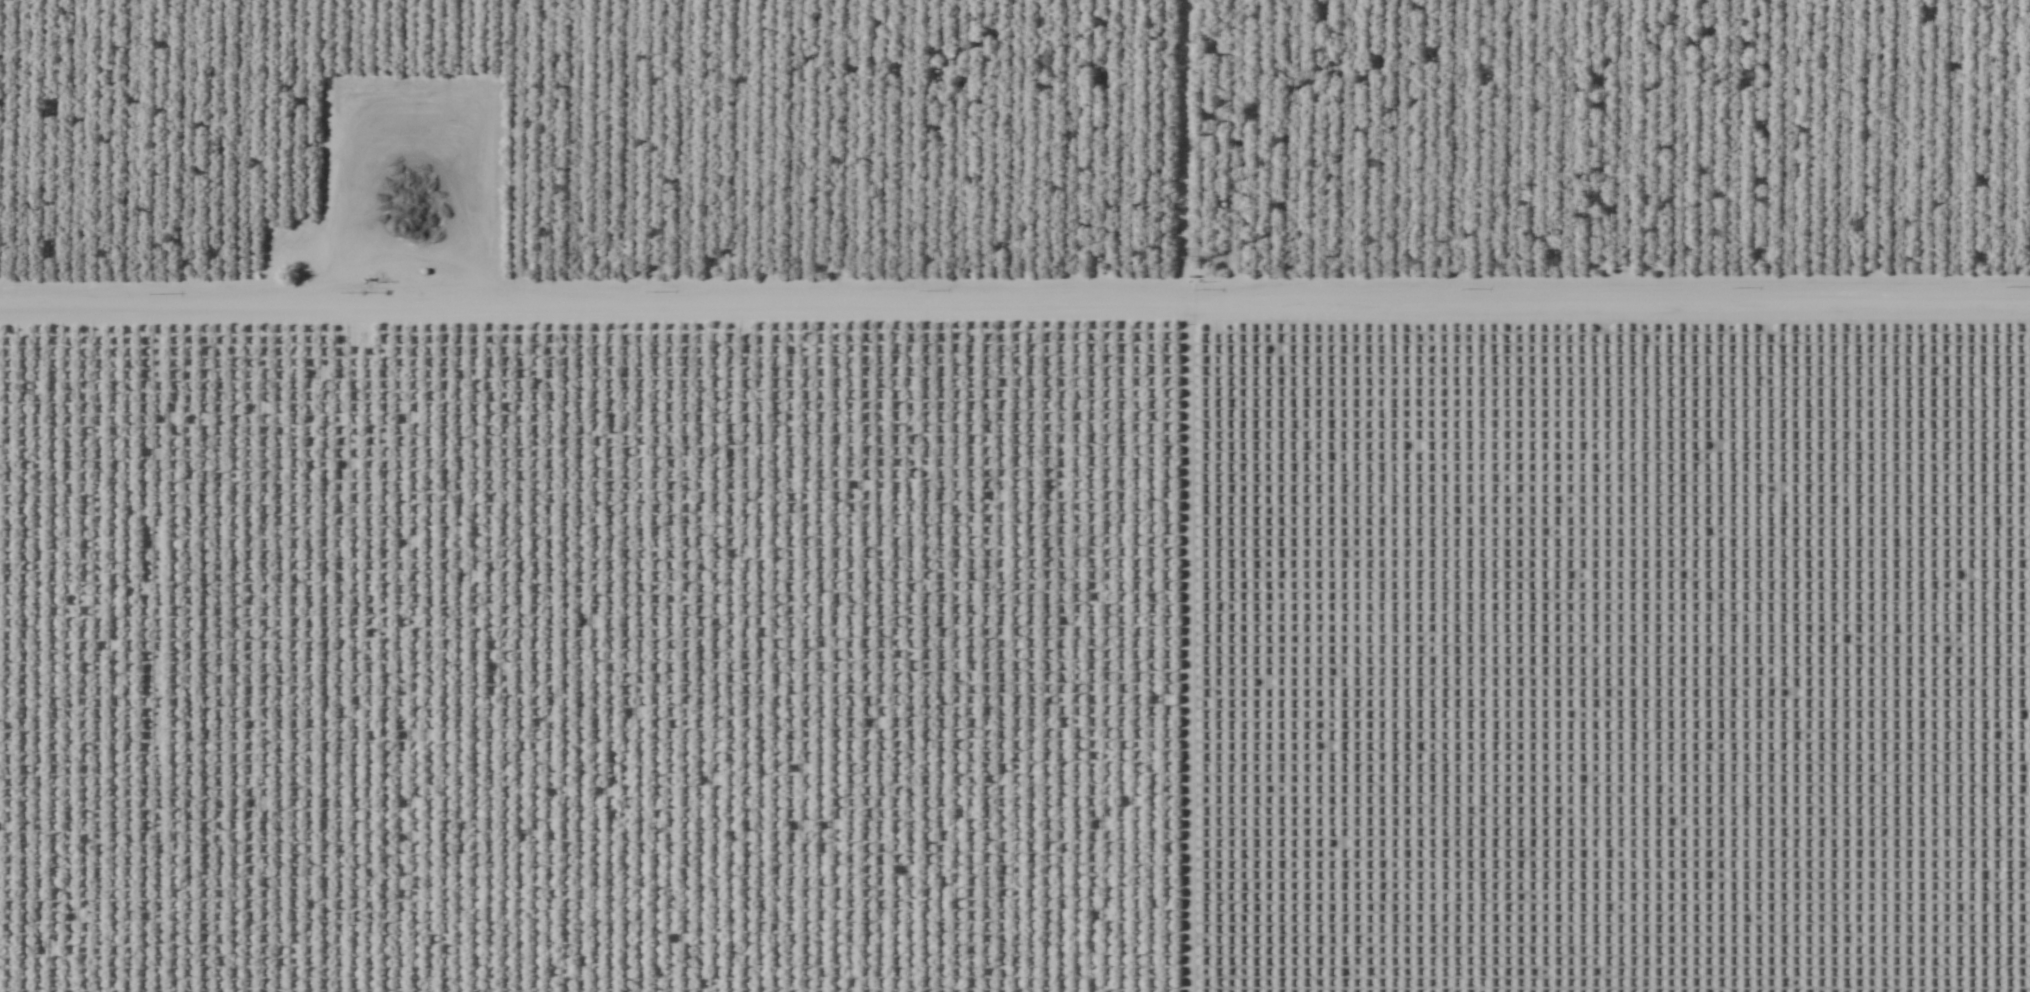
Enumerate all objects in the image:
road: (1014, 297)
road: (1196, 643)

